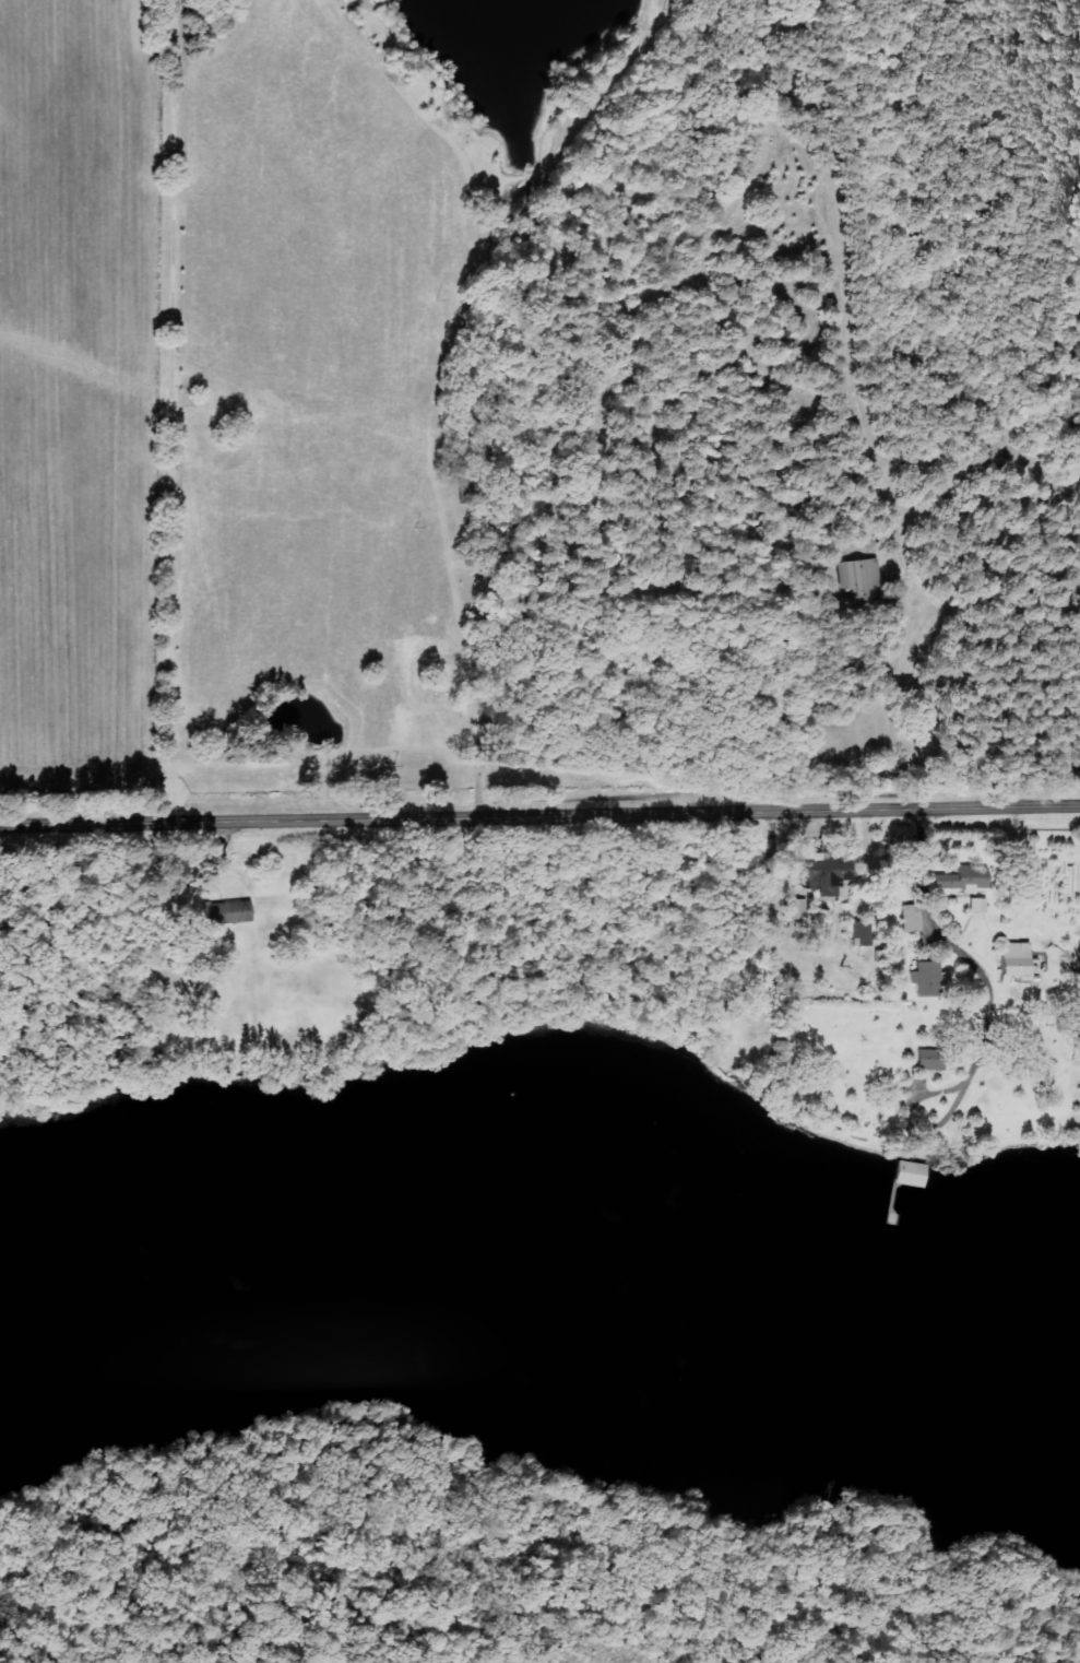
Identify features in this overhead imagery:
building: (862, 580)
road: (539, 817)
building: (830, 871)
building: (959, 880)
building: (229, 913)
building: (797, 916)
building: (911, 919)
building: (862, 935)
building: (1016, 962)
building: (925, 979)
building: (931, 1061)

